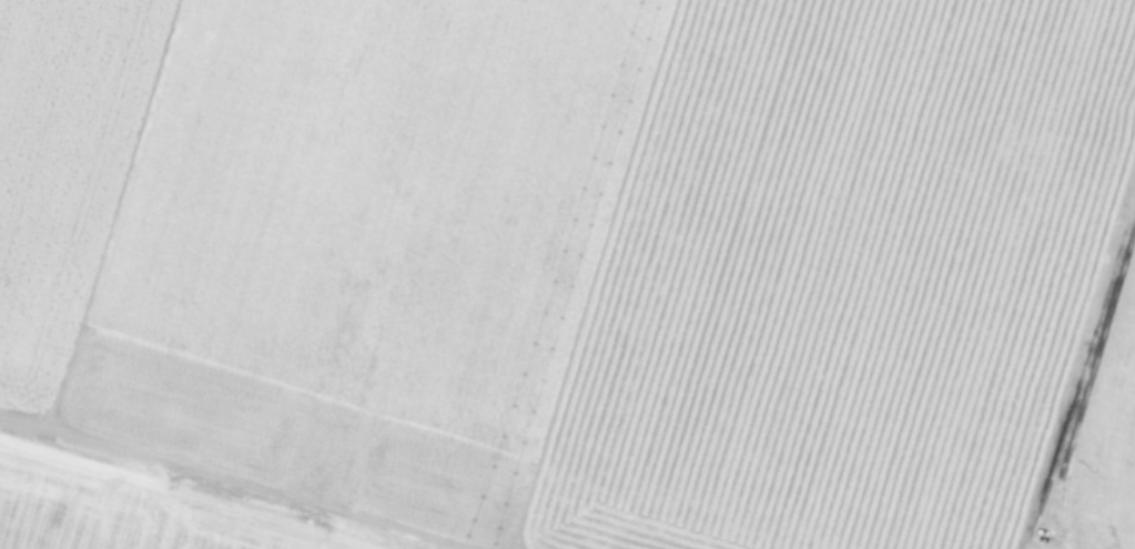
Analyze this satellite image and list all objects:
crop: (549, 268)
road: (1091, 364)

